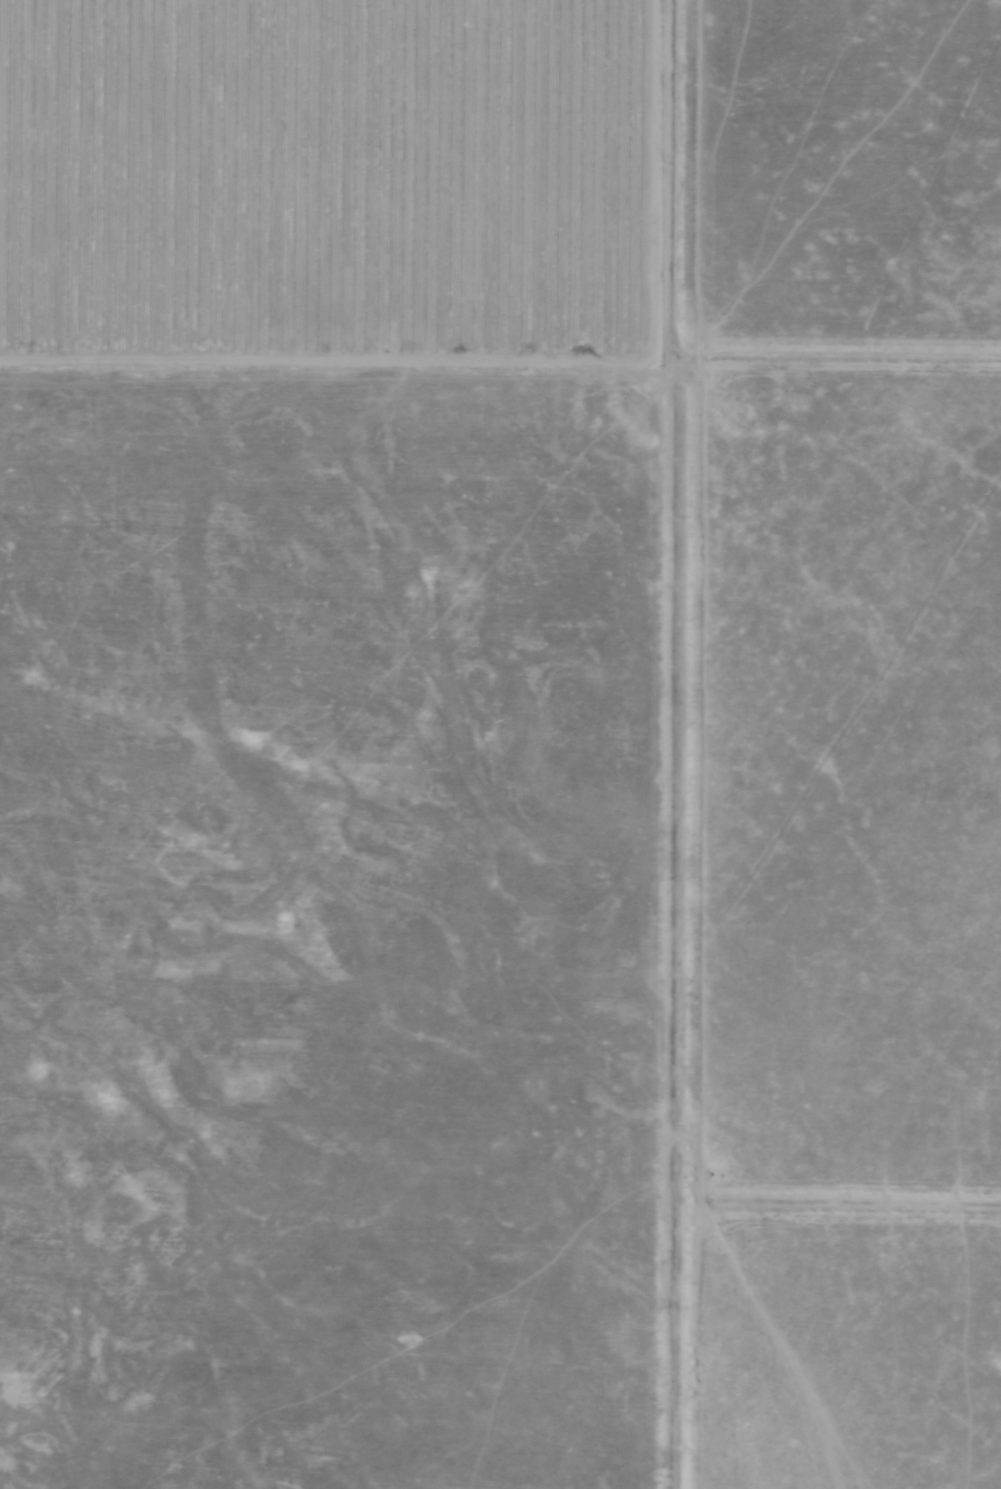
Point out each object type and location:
crop: (500, 744)

